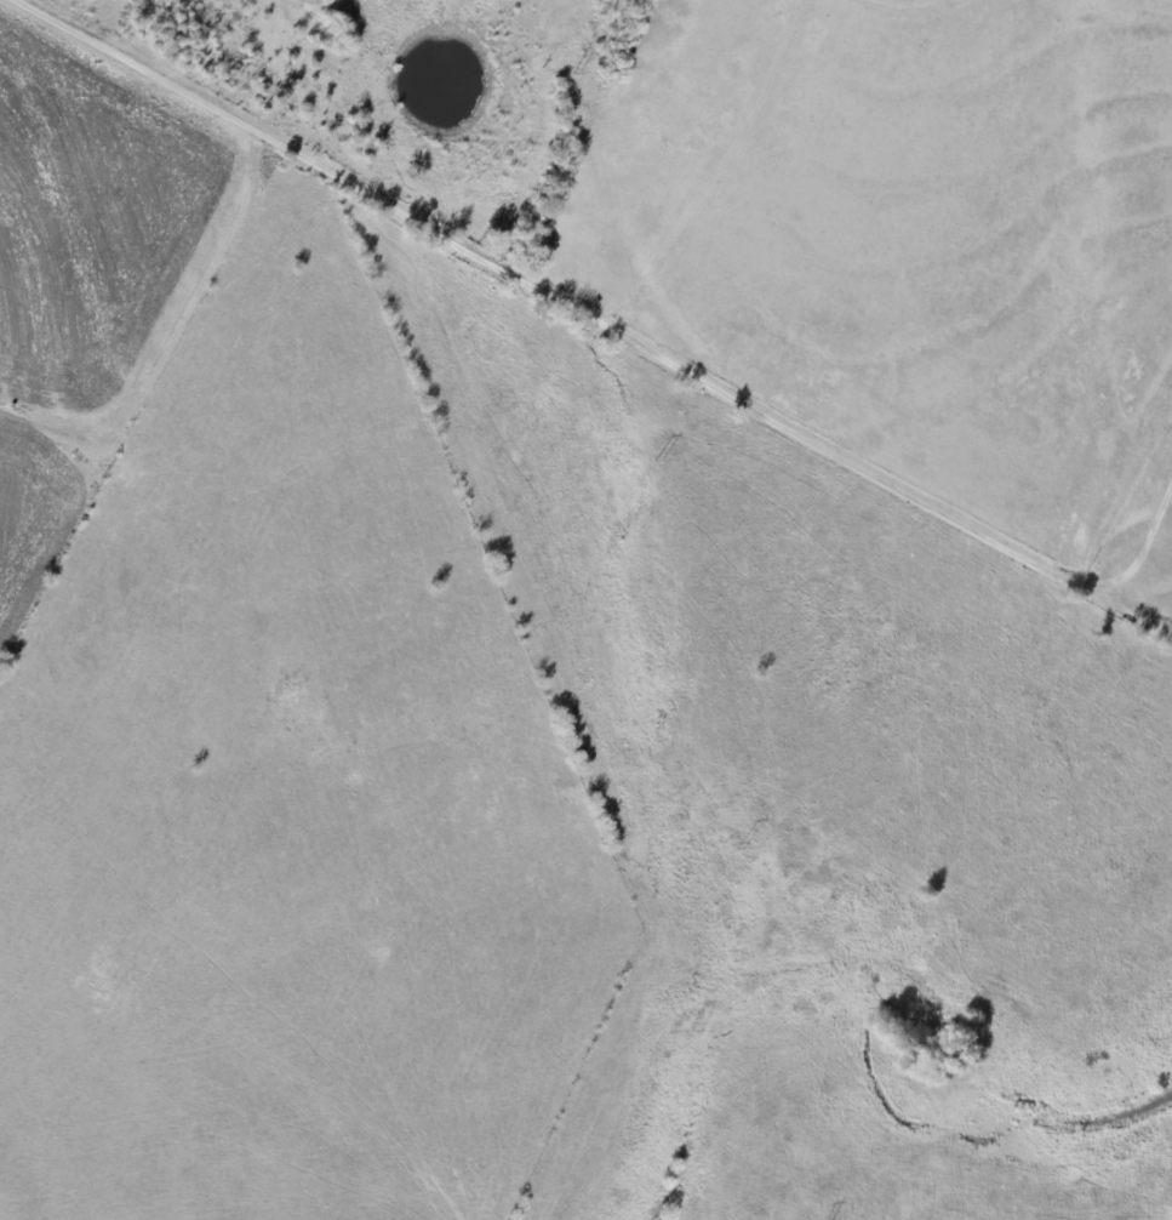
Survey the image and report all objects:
power tower: (578, 72)
crop: (903, 240)
road: (619, 333)
power tower: (661, 461)
power tower: (743, 846)

